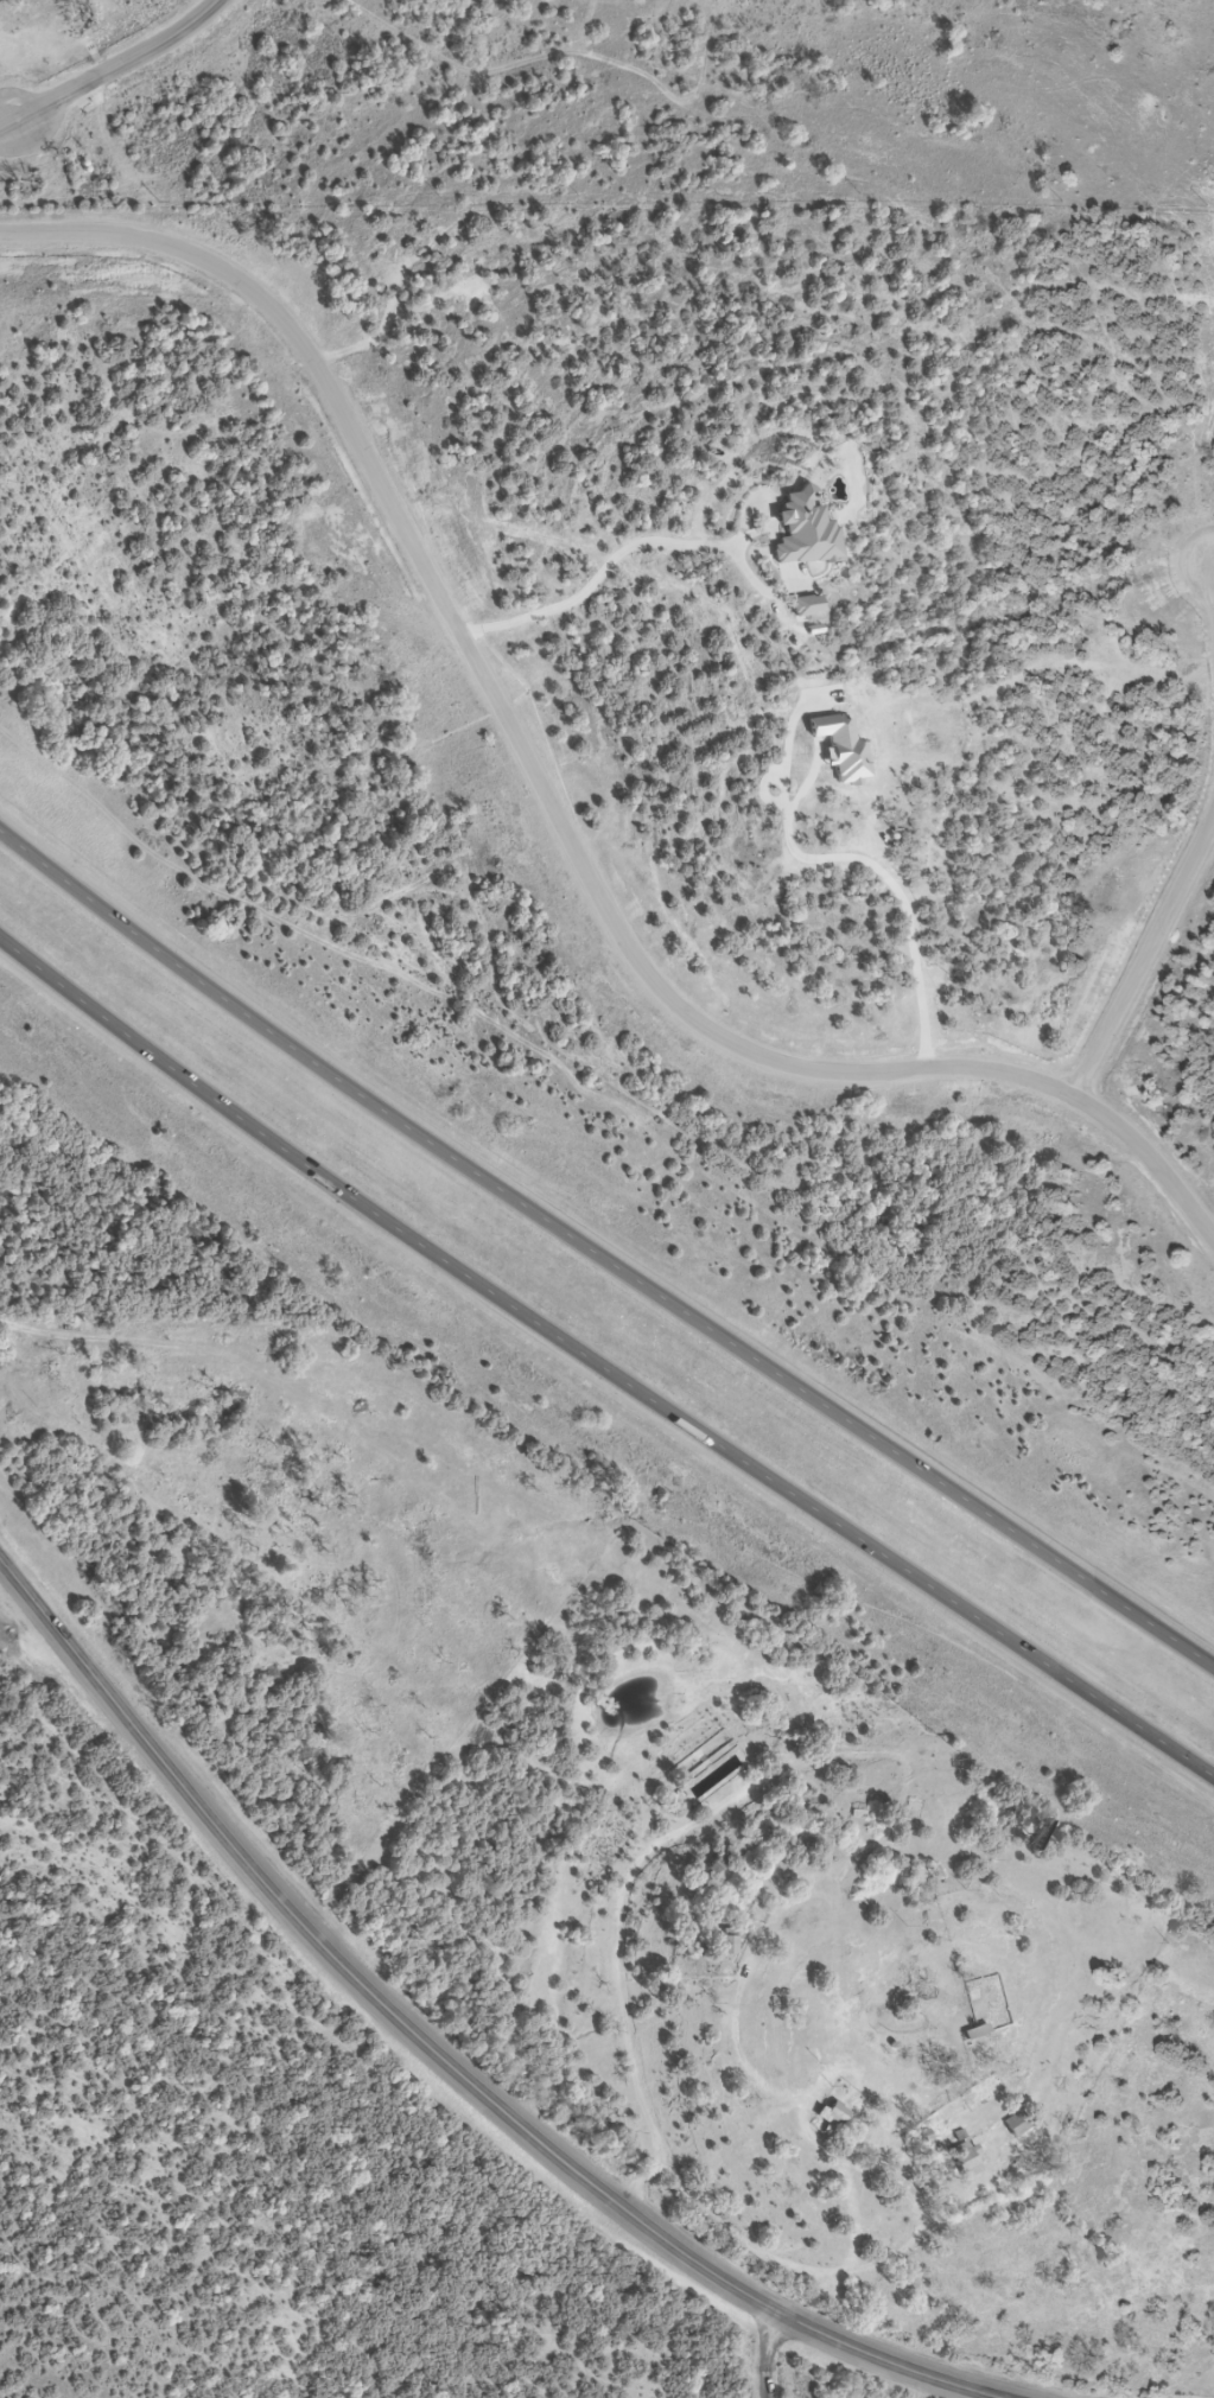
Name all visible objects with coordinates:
road: (112, 66)
road: (614, 558)
road: (1213, 572)
road: (548, 803)
road: (866, 870)
road: (1143, 956)
road: (600, 1258)
road: (604, 1361)
building: (764, 1827)
building: (730, 1945)
building: (977, 2033)
road: (440, 2056)
building: (833, 2117)
building: (967, 2160)
road: (764, 2352)

